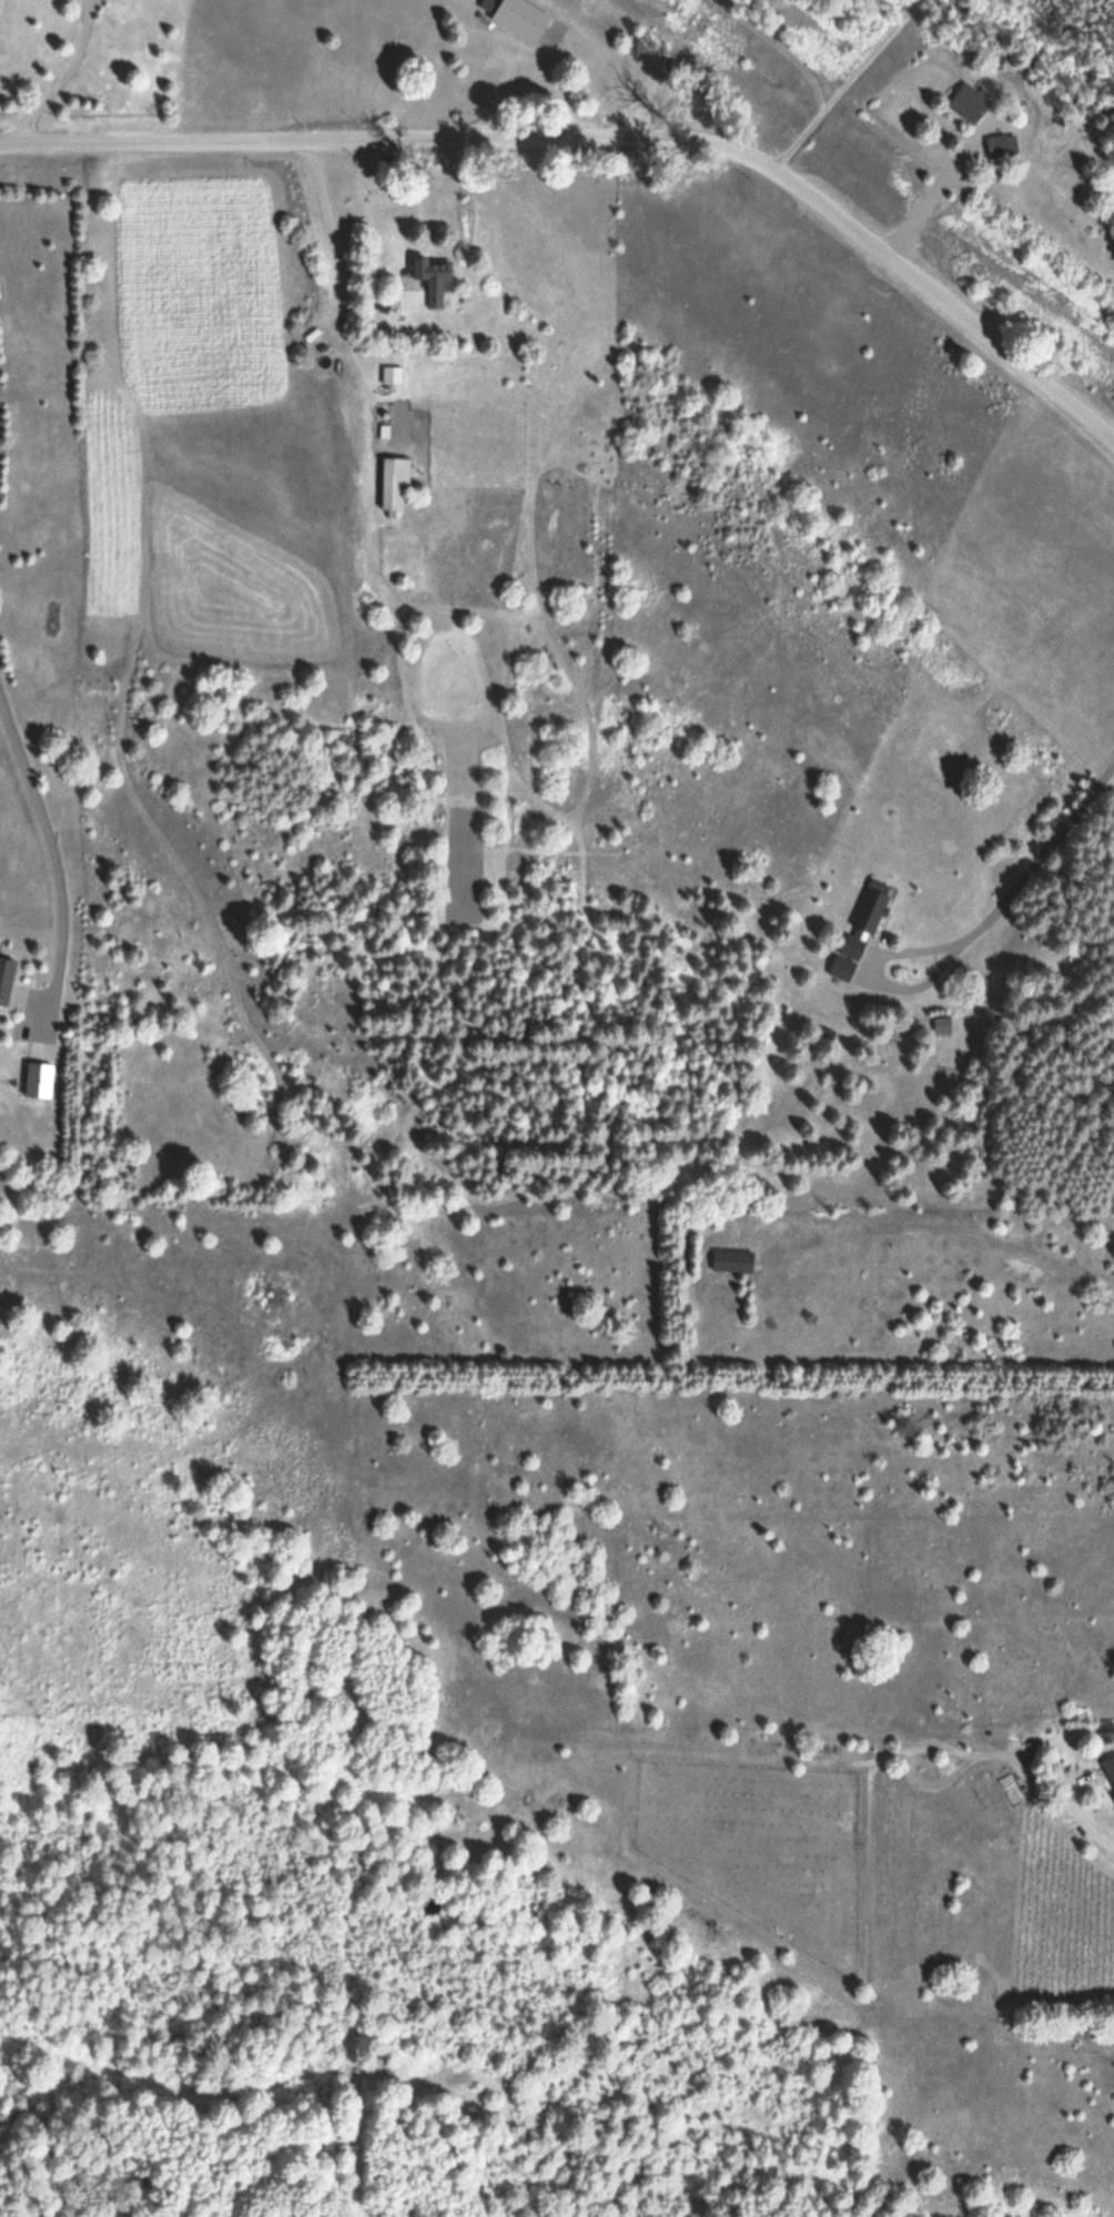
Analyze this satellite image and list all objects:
building: (521, 20)
road: (850, 85)
building: (971, 102)
road: (606, 144)
building: (1002, 145)
building: (432, 280)
building: (865, 922)
building: (843, 970)
building: (7, 979)
building: (39, 1080)
building: (232, 1113)
building: (733, 1262)
building: (1108, 1770)

